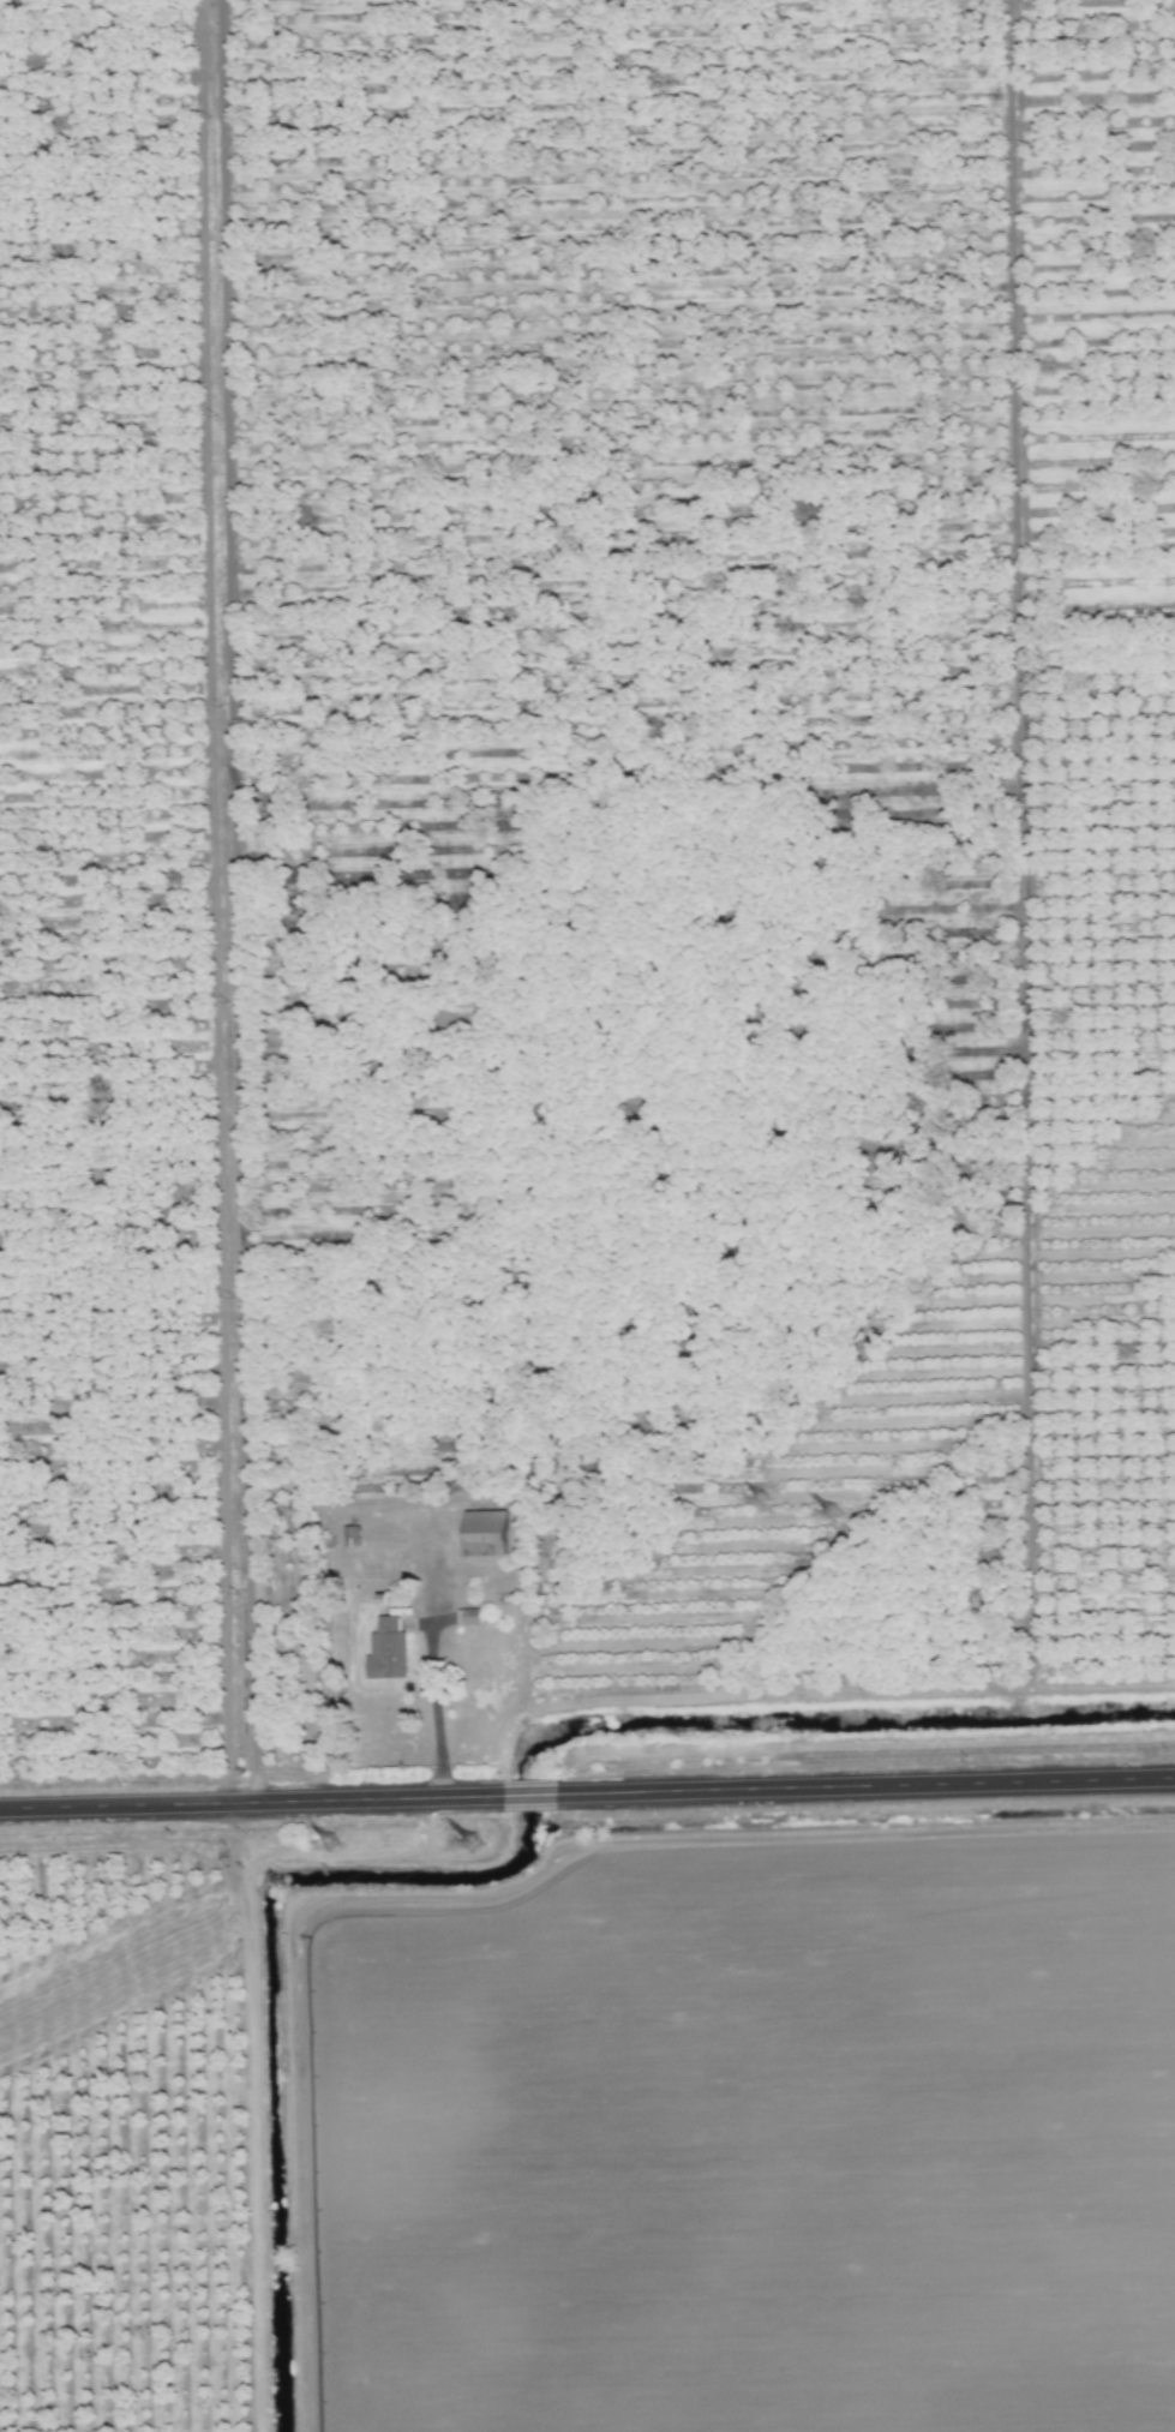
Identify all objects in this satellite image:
power tower: (760, 1502)
power tower: (829, 1516)
building: (484, 1532)
building: (389, 1648)
road: (434, 1713)
road: (867, 1789)
road: (528, 1797)
road: (248, 1805)
power tower: (329, 1846)
power tower: (469, 1846)

